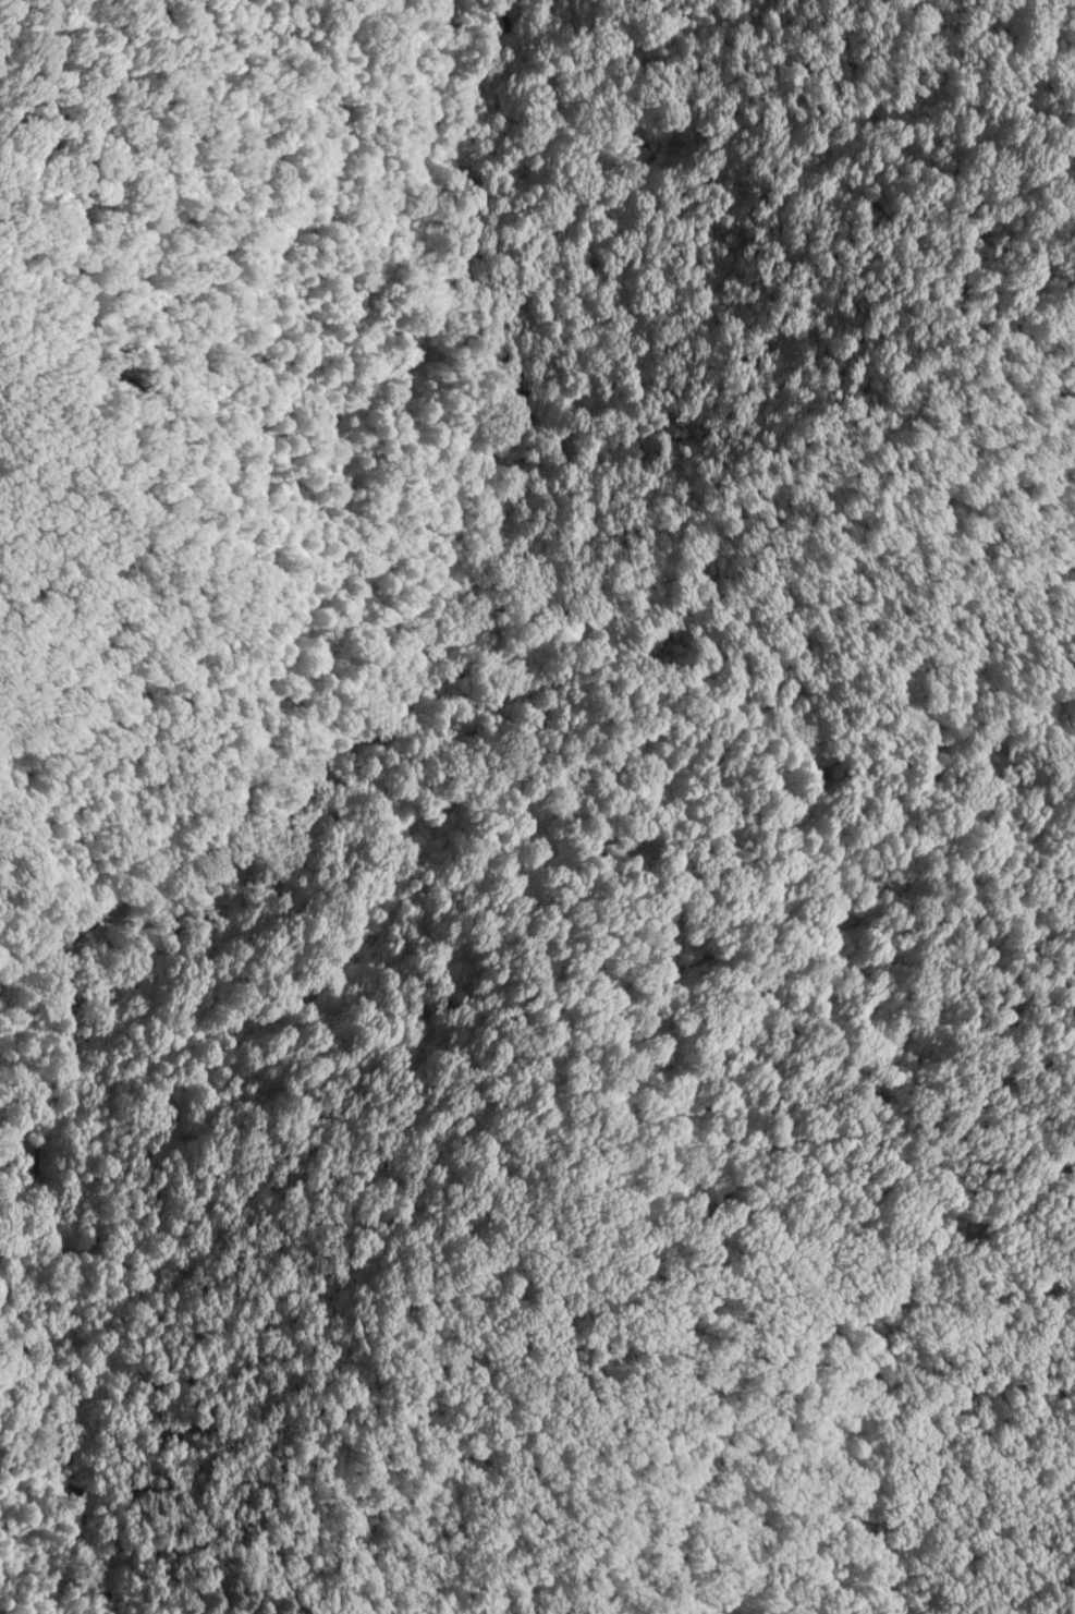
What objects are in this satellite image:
road: (333, 31)
road: (301, 620)

